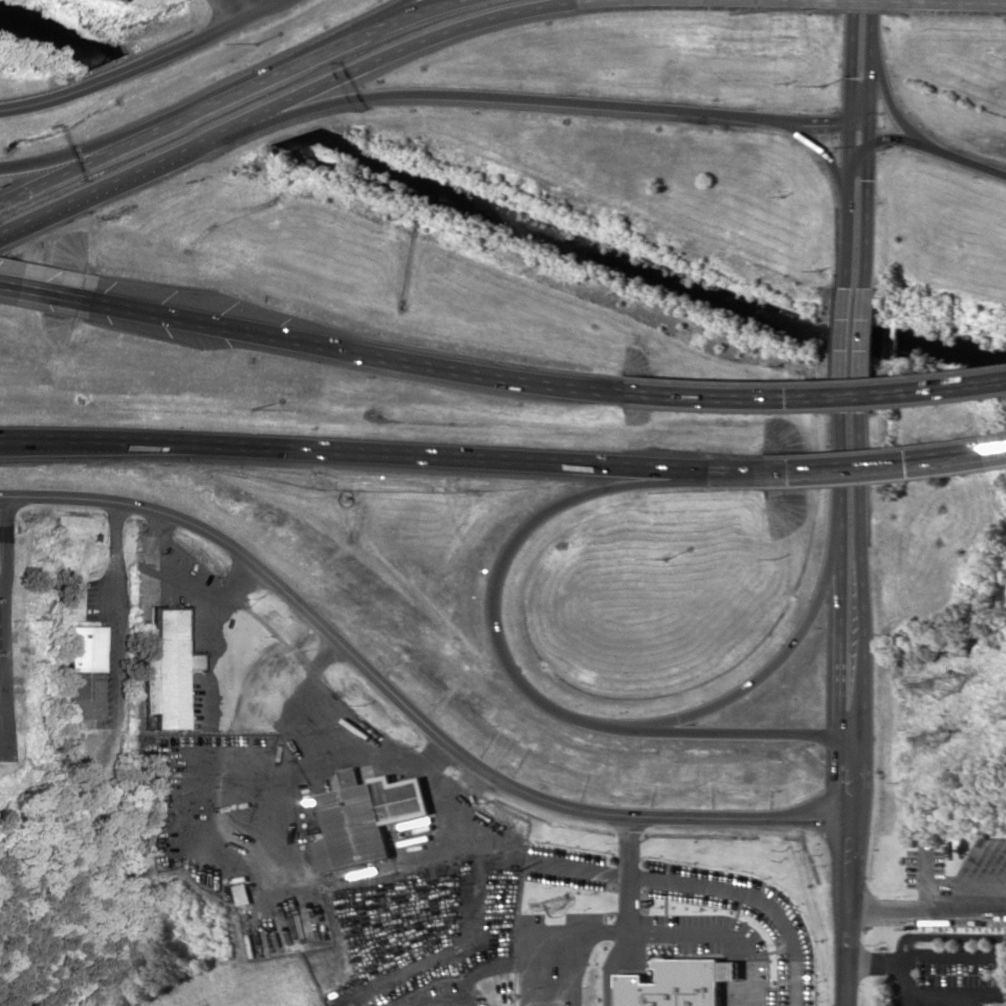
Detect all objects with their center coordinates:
road: (755, 0)
road: (884, 3)
road: (258, 5)
road: (994, 6)
road: (864, 16)
river: (58, 36)
road: (322, 49)
road: (142, 62)
road: (230, 97)
road: (288, 100)
road: (543, 102)
road: (897, 116)
traffic signals: (861, 138)
road: (57, 158)
road: (860, 159)
road: (933, 159)
road: (832, 167)
road: (42, 293)
road: (856, 348)
road: (348, 351)
road: (810, 398)
road: (354, 457)
road: (858, 468)
road: (418, 632)
road: (775, 659)
building: (168, 670)
road: (516, 678)
building: (82, 680)
power tower: (942, 685)
road: (404, 705)
road: (846, 708)
power tower: (934, 739)
building: (366, 818)
power tower: (518, 871)
road: (705, 886)
building: (243, 898)
power tower: (554, 905)
road: (631, 914)
road: (661, 930)
building: (679, 983)
building: (998, 1004)

